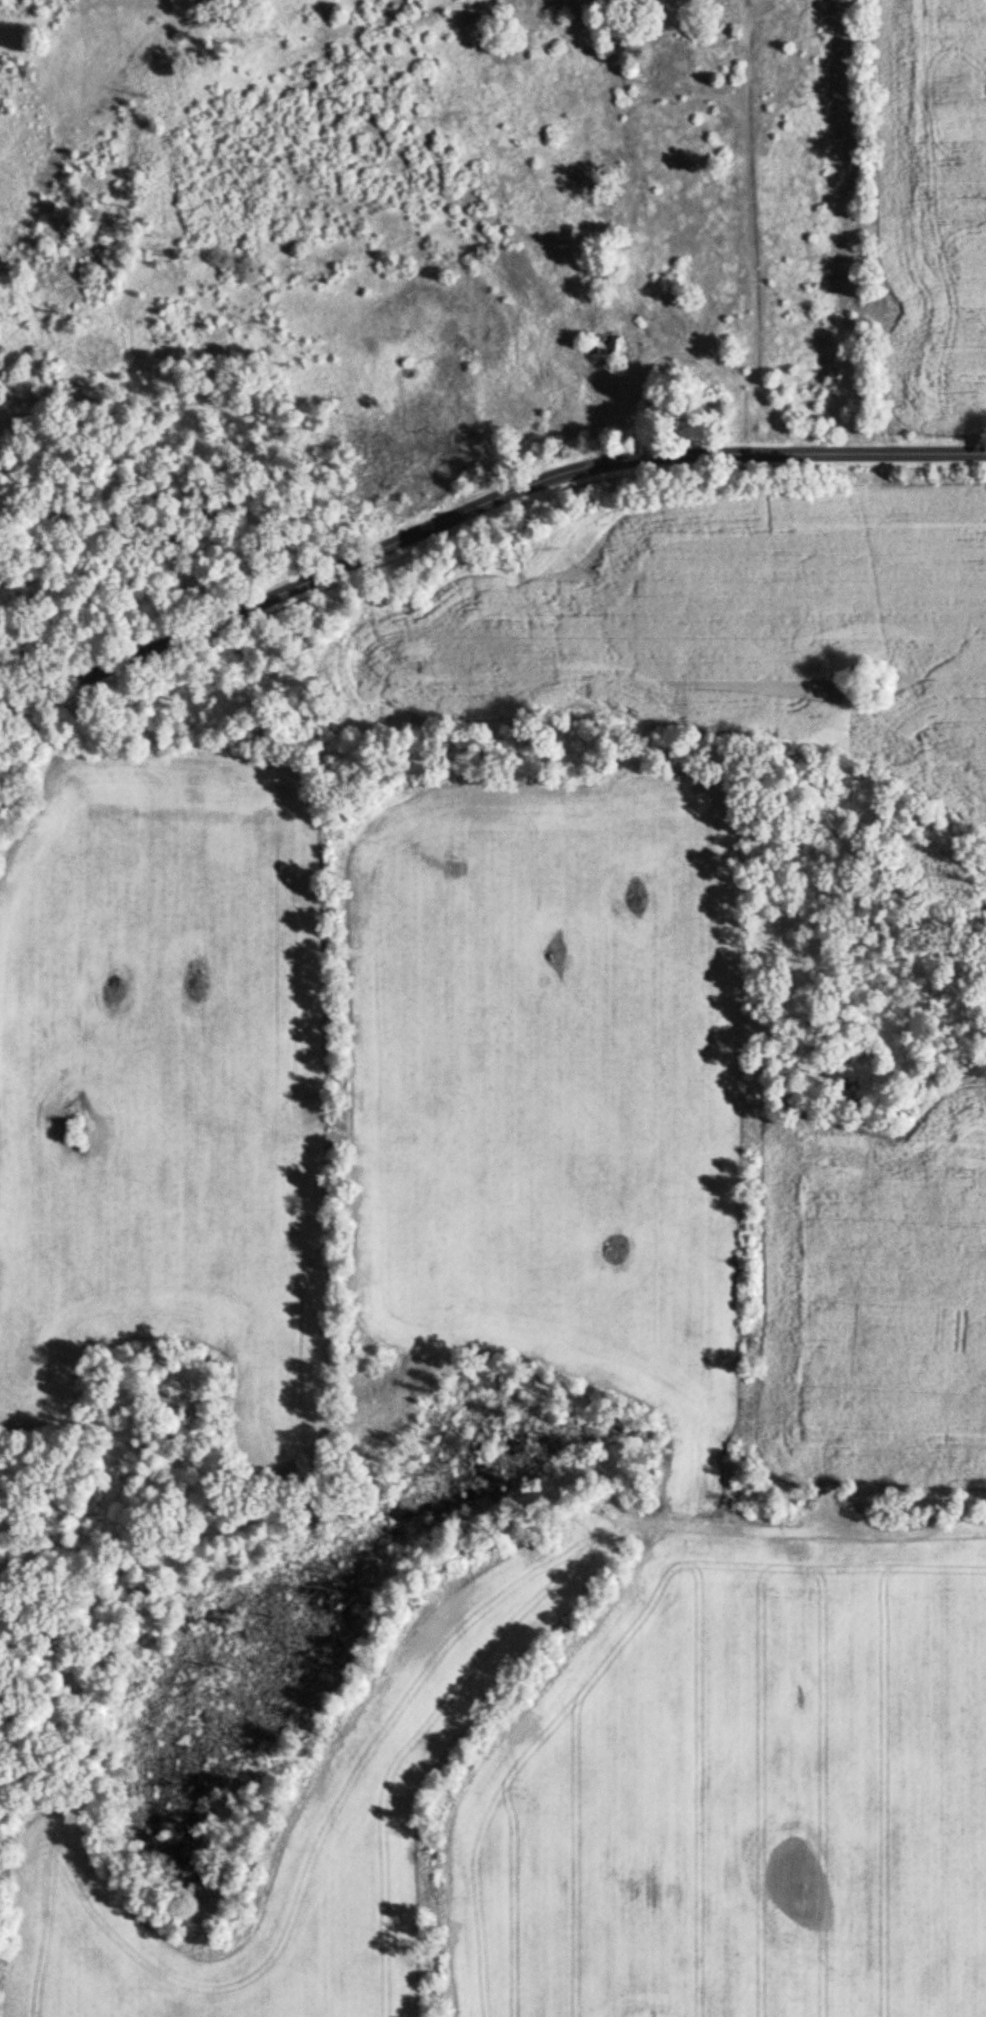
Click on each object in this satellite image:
crop: (925, 206)
road: (740, 228)
road: (478, 514)
crop: (750, 631)
crop: (162, 1082)
crop: (546, 1086)
crop: (883, 1293)
crop: (742, 1790)
crop: (305, 1832)

